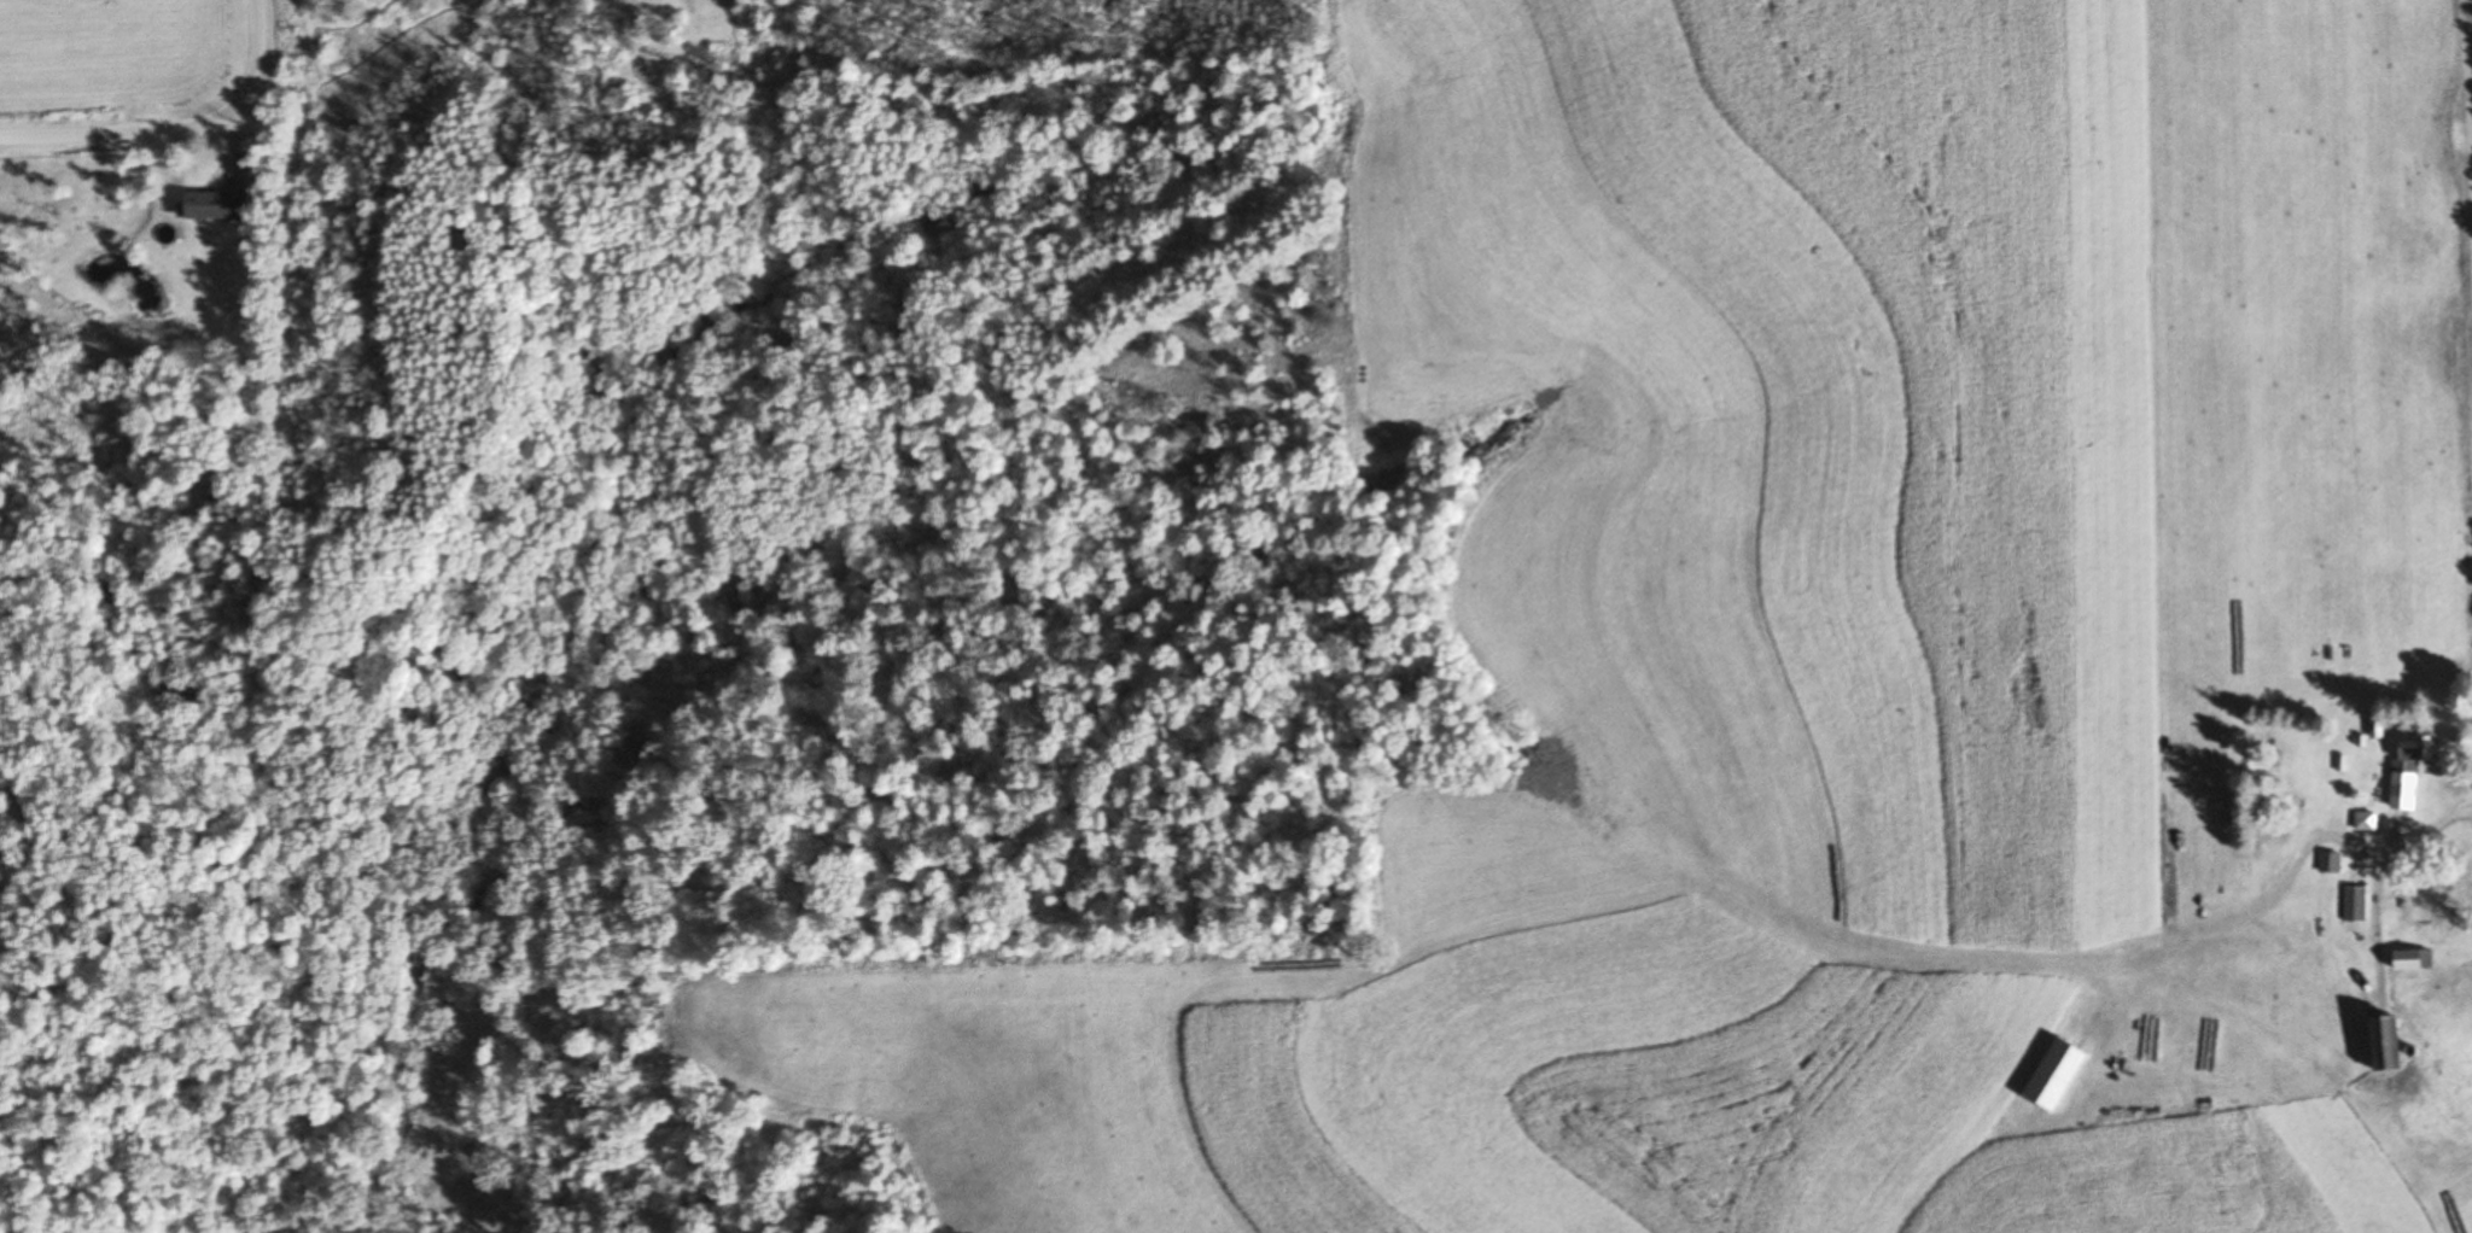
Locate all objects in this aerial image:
road: (2470, 30)
crop: (105, 36)
road: (173, 122)
building: (220, 205)
crop: (1782, 639)
building: (2414, 773)
building: (2369, 822)
building: (2332, 863)
building: (2357, 904)
building: (2416, 960)
building: (2395, 1045)

